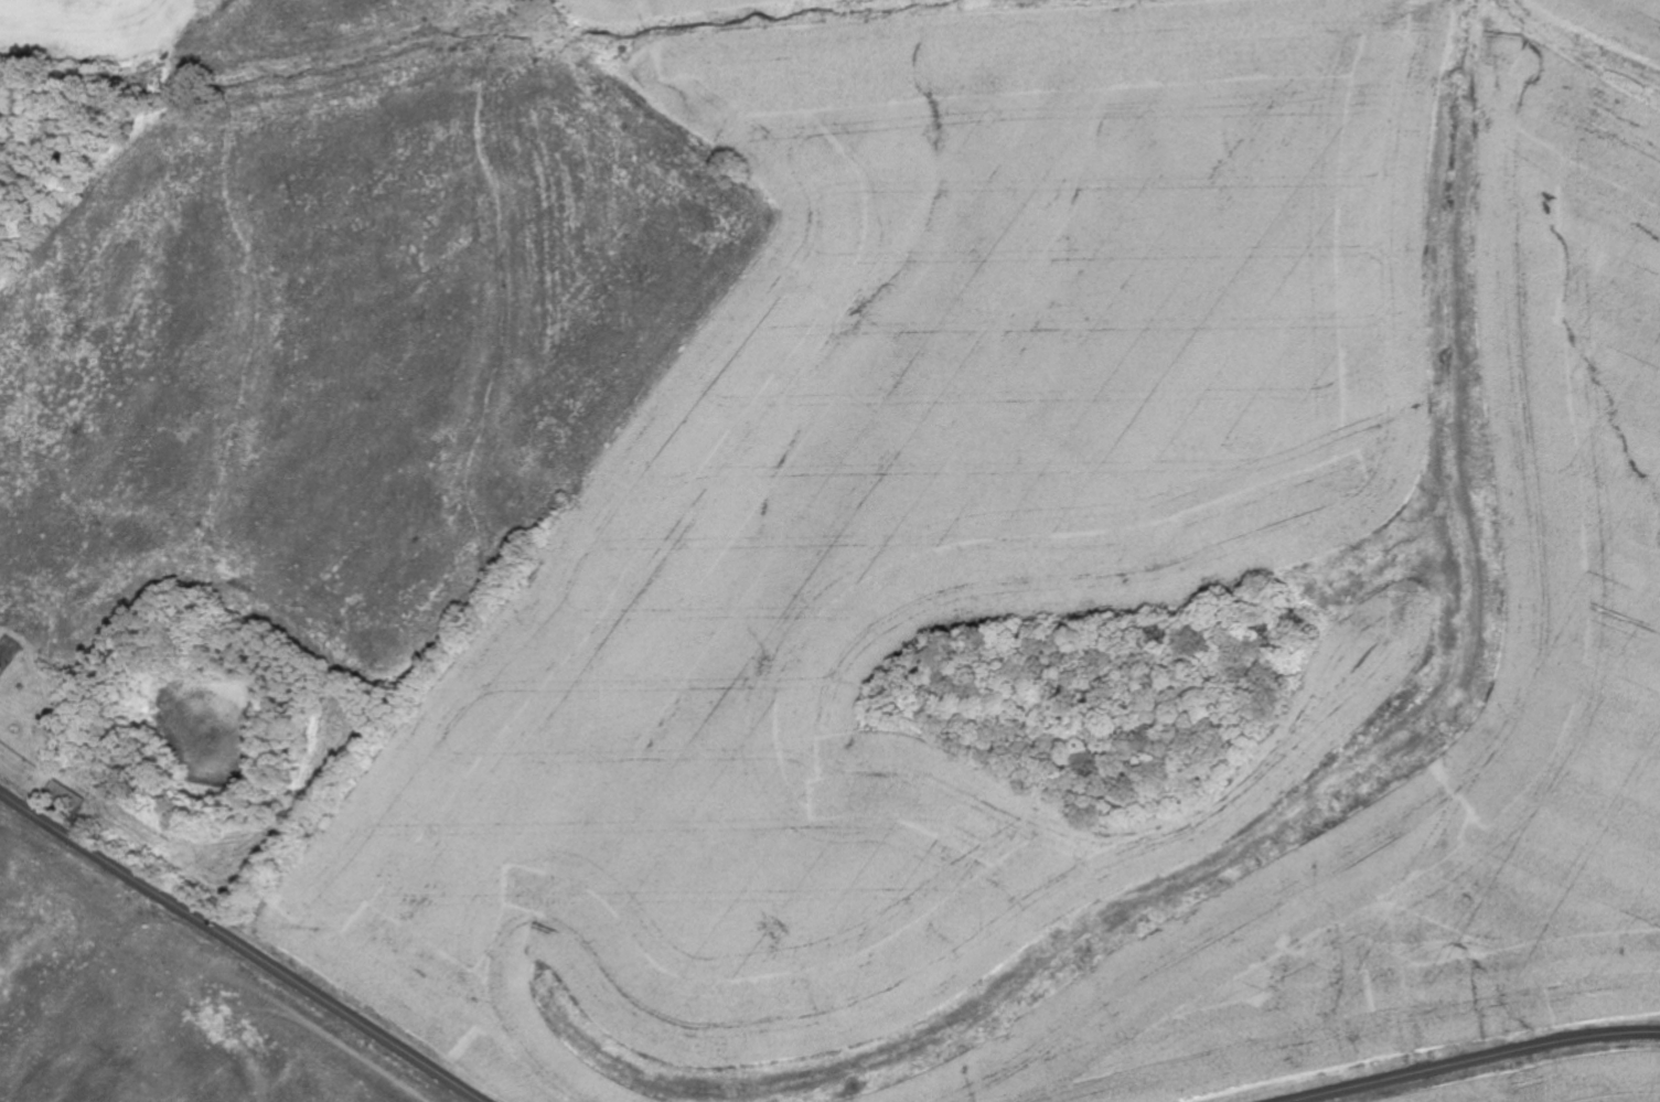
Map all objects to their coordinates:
road: (242, 948)
road: (1470, 1061)

